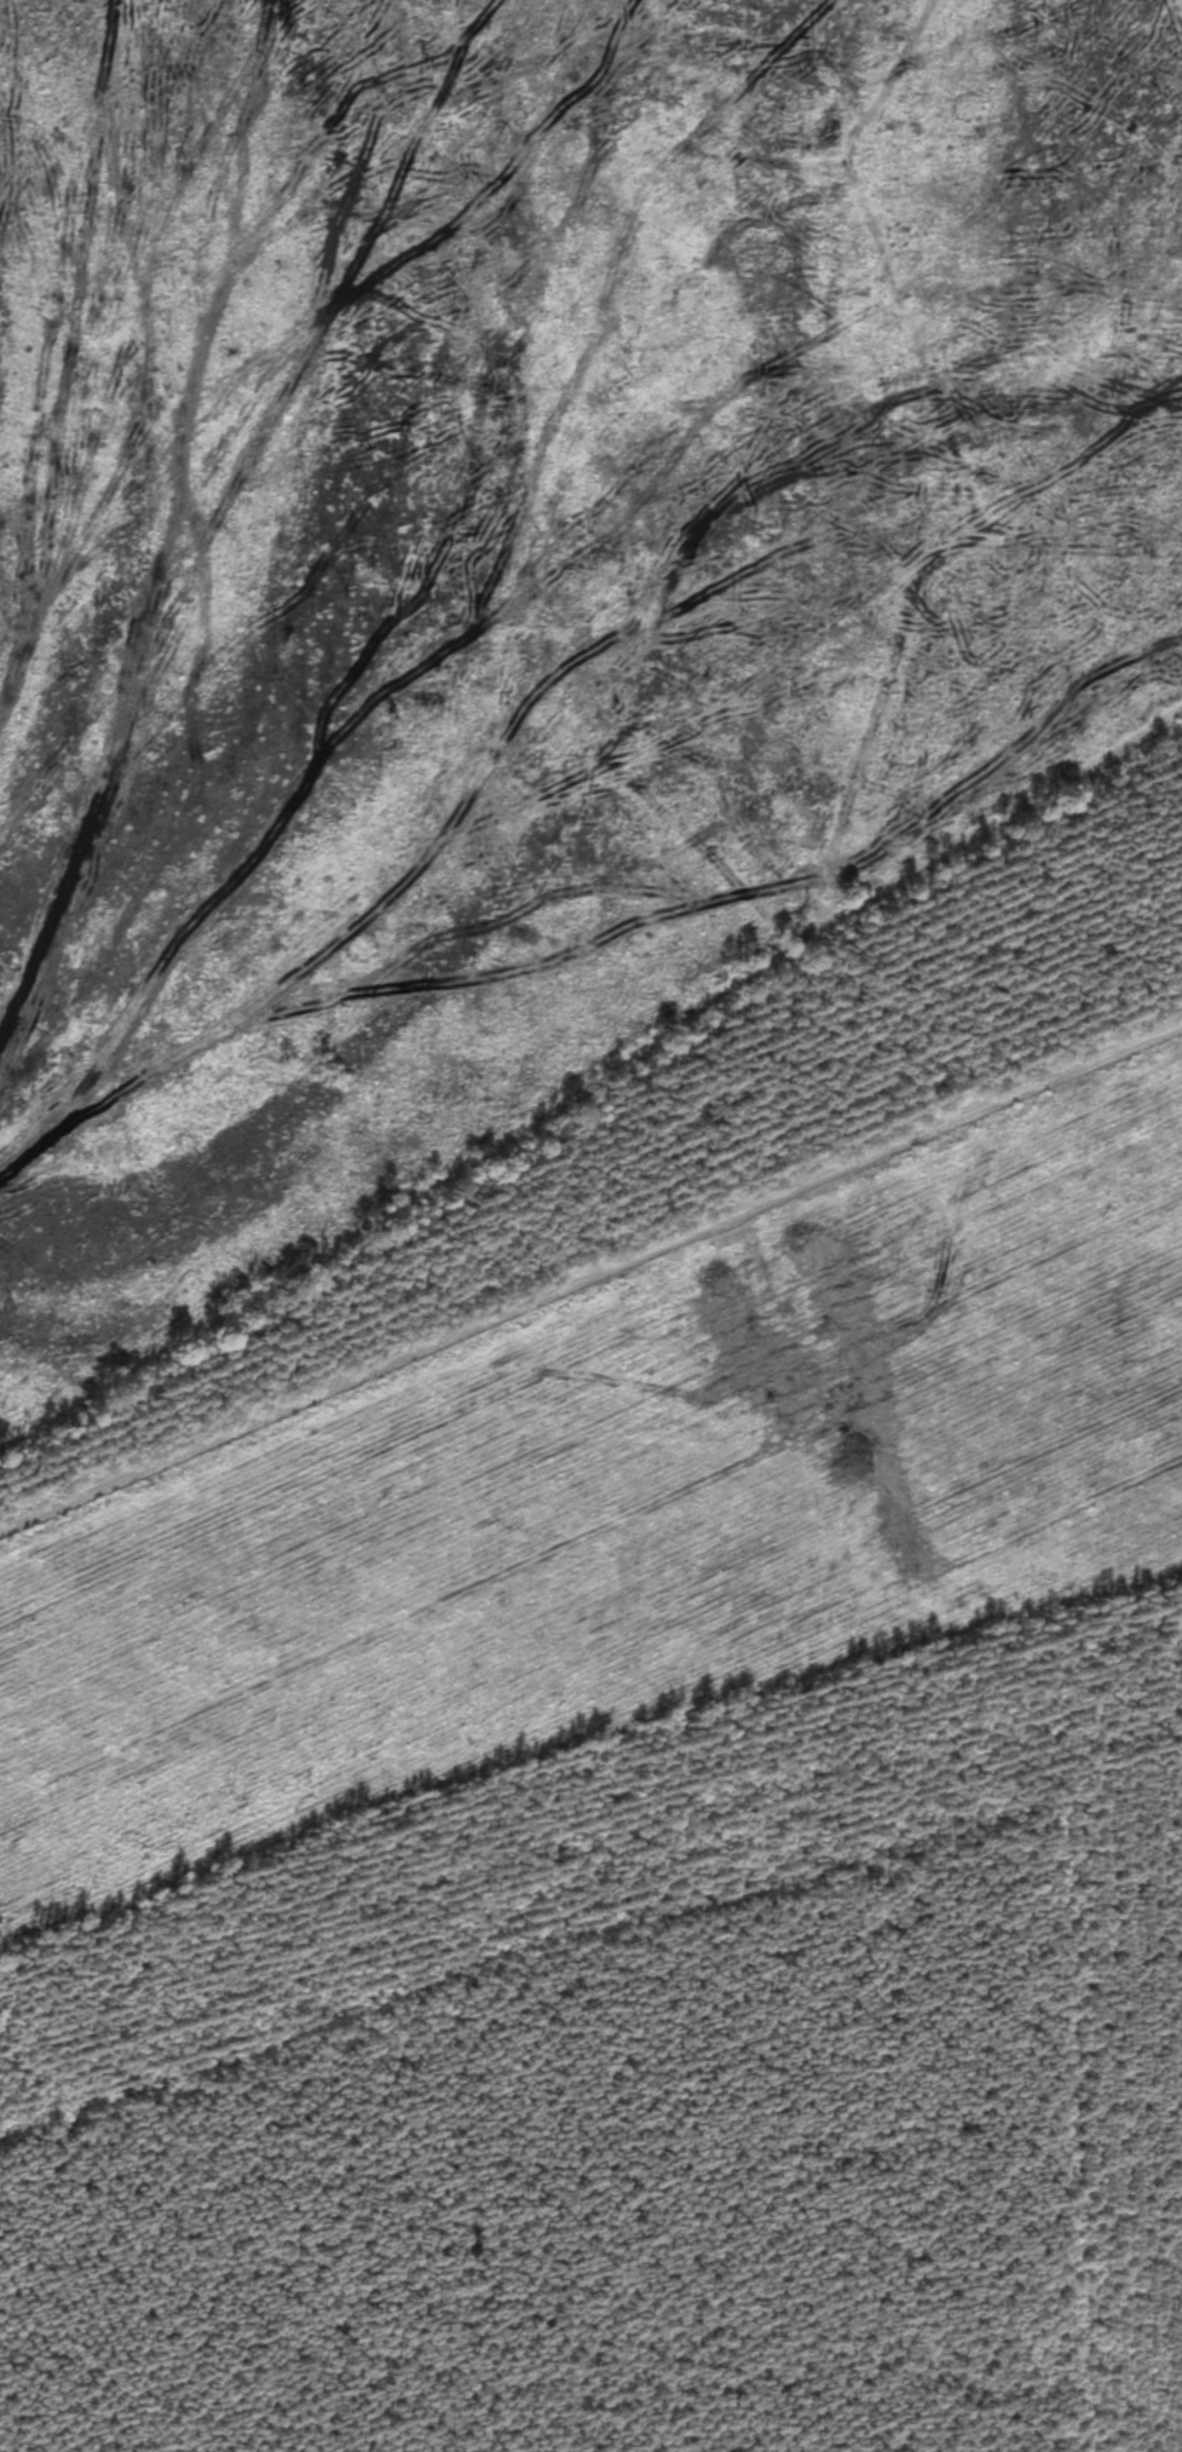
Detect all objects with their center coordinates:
road: (590, 1272)

